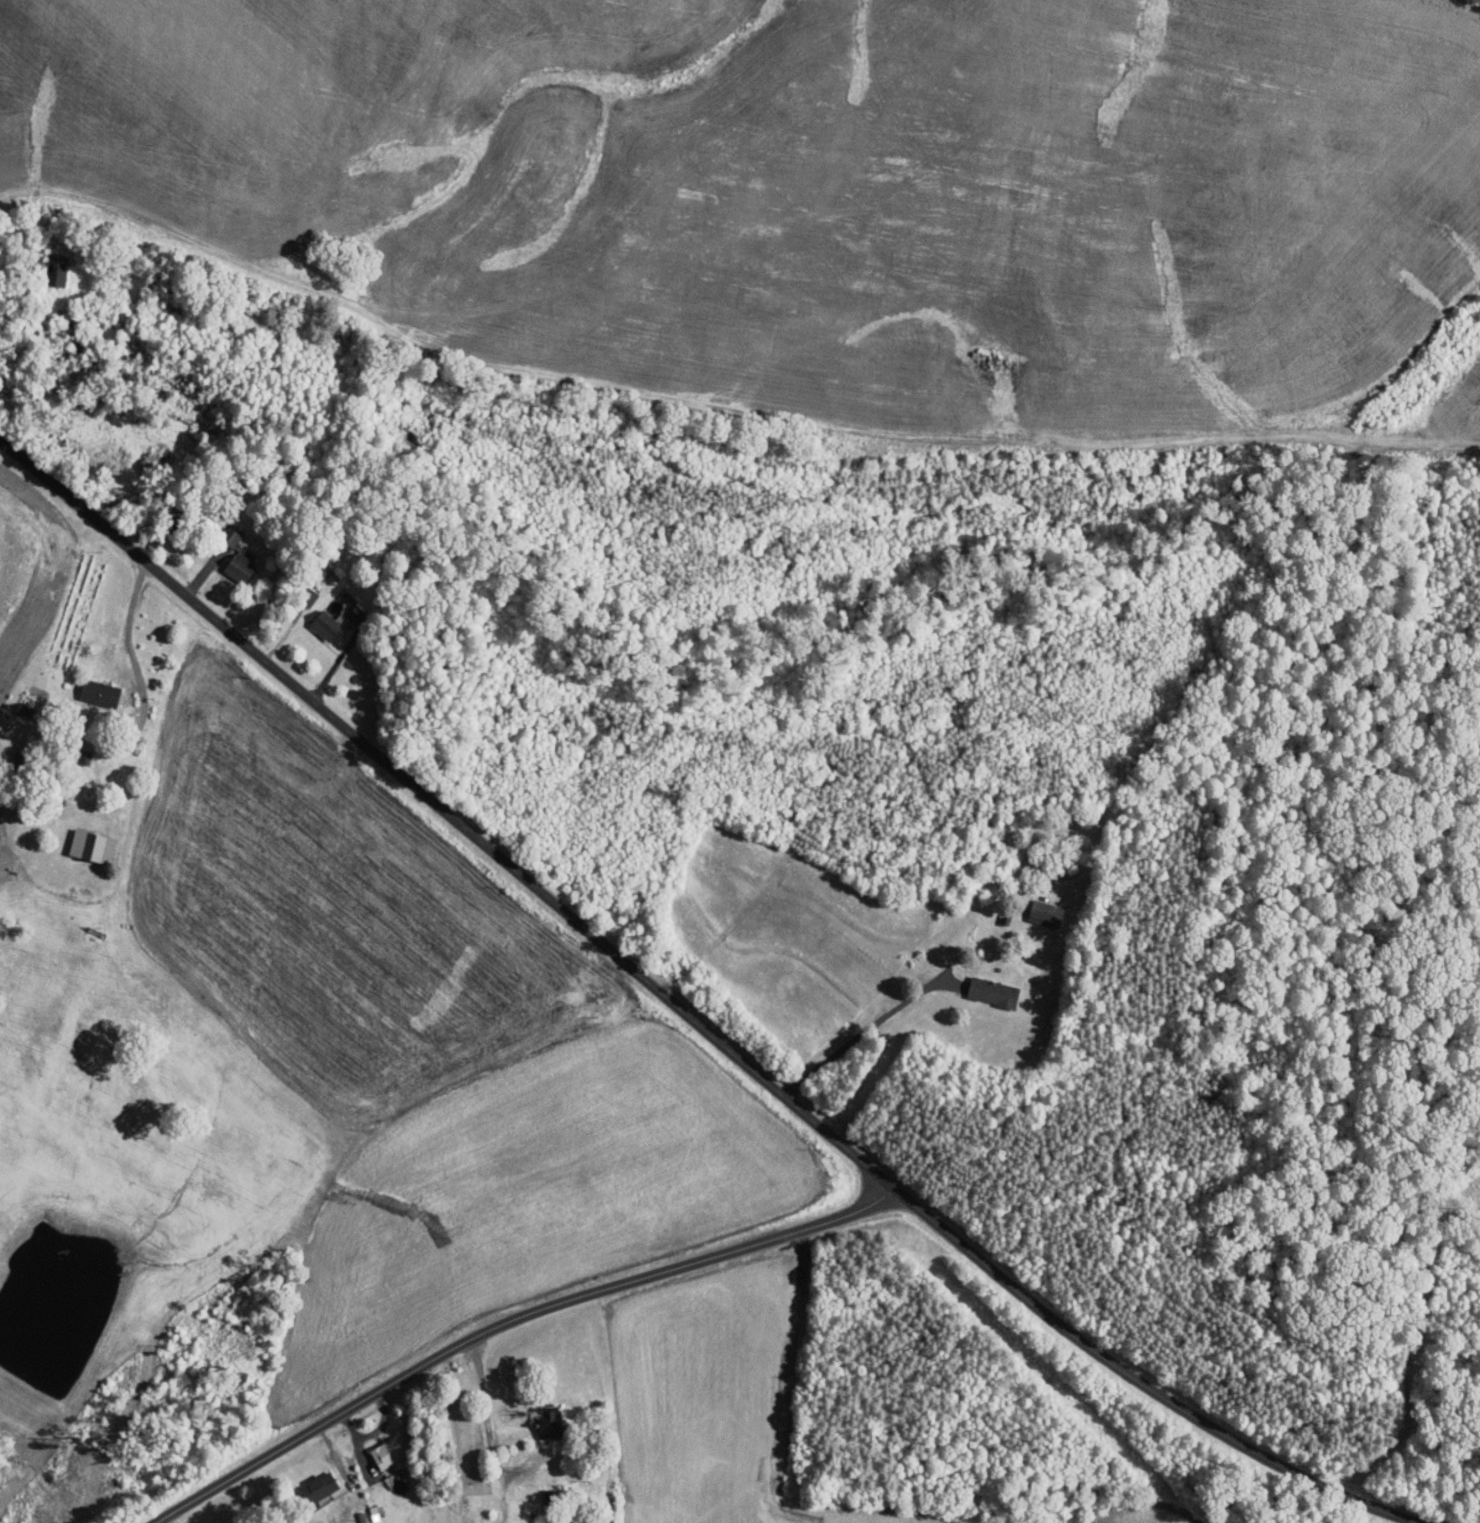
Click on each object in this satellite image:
building: (56, 274)
building: (229, 537)
building: (239, 567)
building: (307, 597)
building: (324, 625)
building: (98, 693)
building: (24, 711)
building: (90, 846)
building: (1046, 916)
building: (992, 992)
road: (691, 1016)
road: (865, 1035)
road: (532, 1314)
road: (1420, 1409)
road: (487, 1412)
building: (549, 1420)
road: (377, 1437)
building: (387, 1451)
building: (317, 1487)

